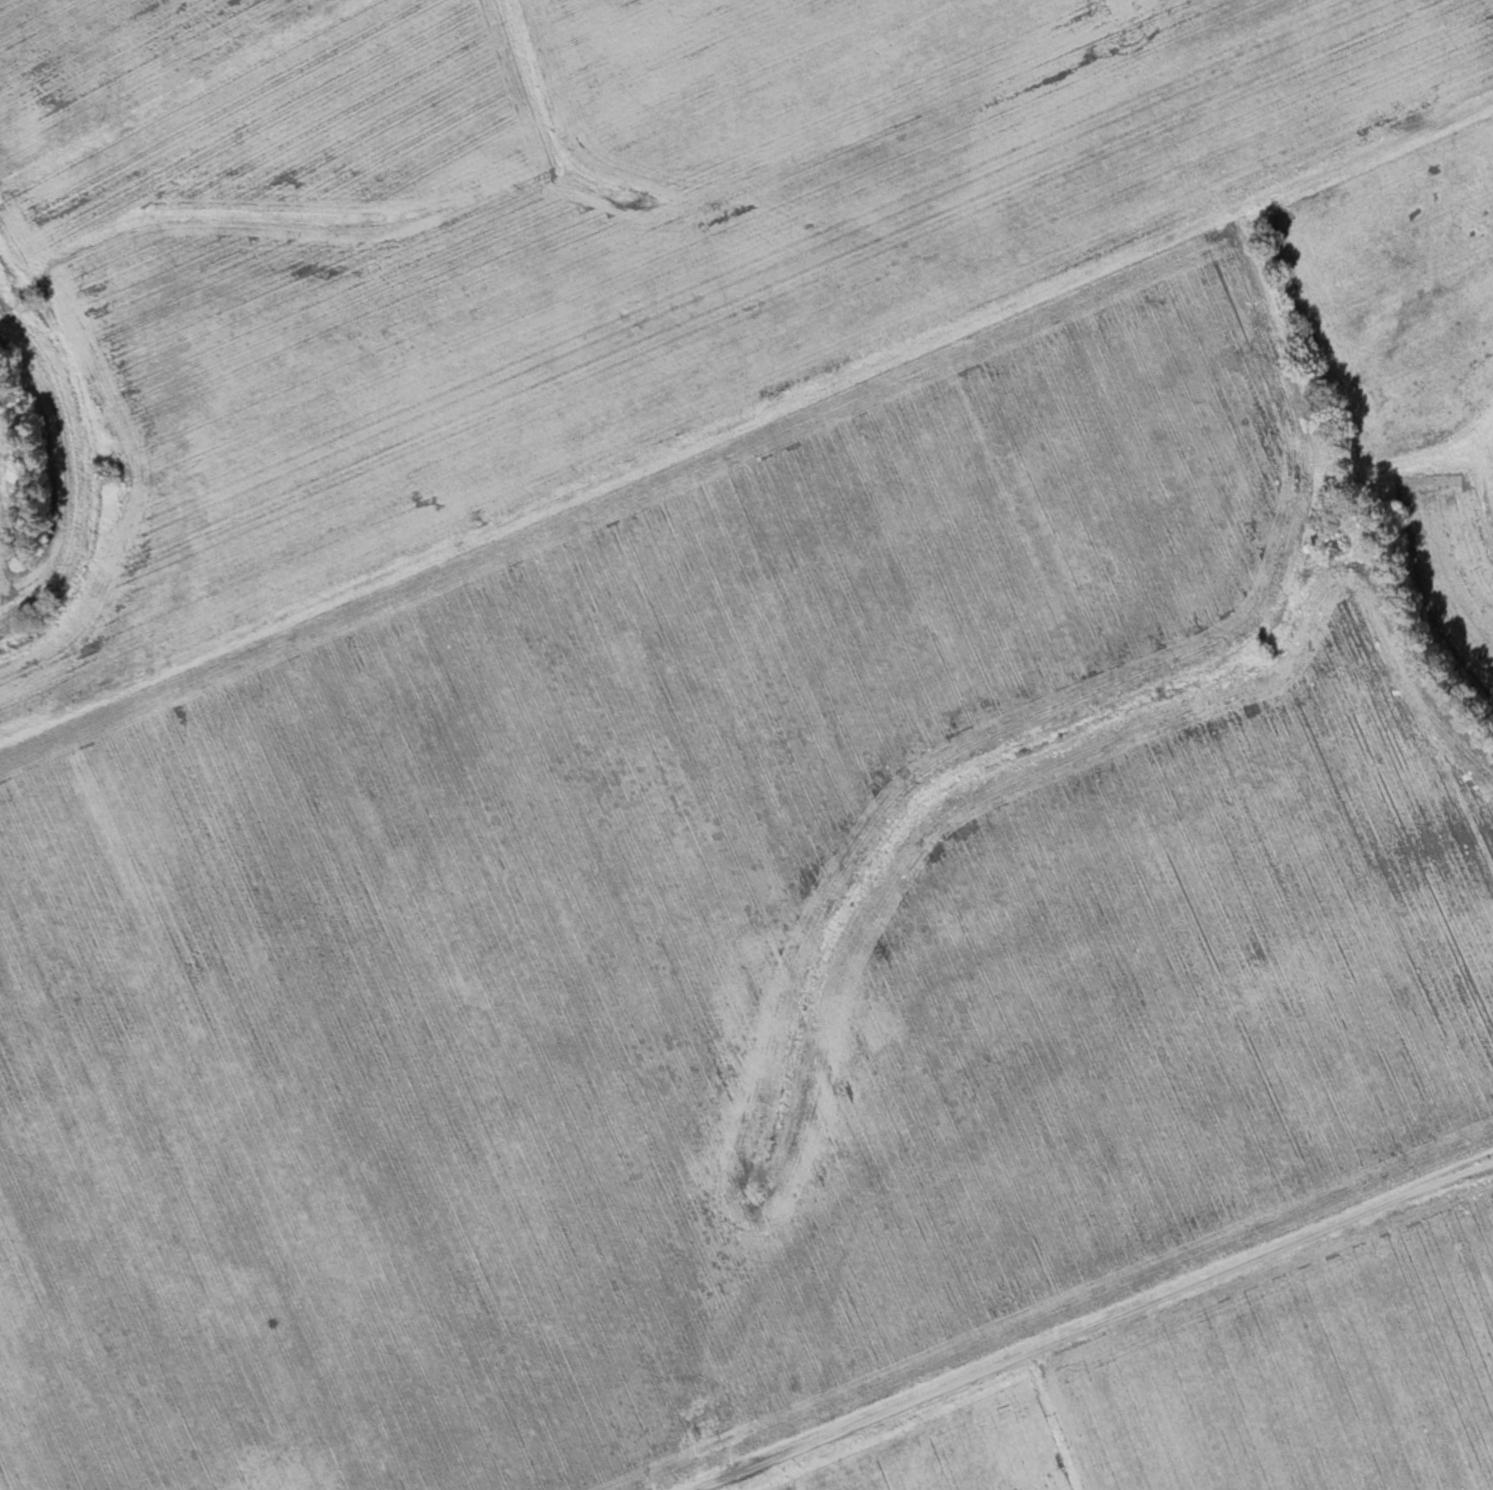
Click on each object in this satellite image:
road: (747, 416)
road: (1083, 1320)

